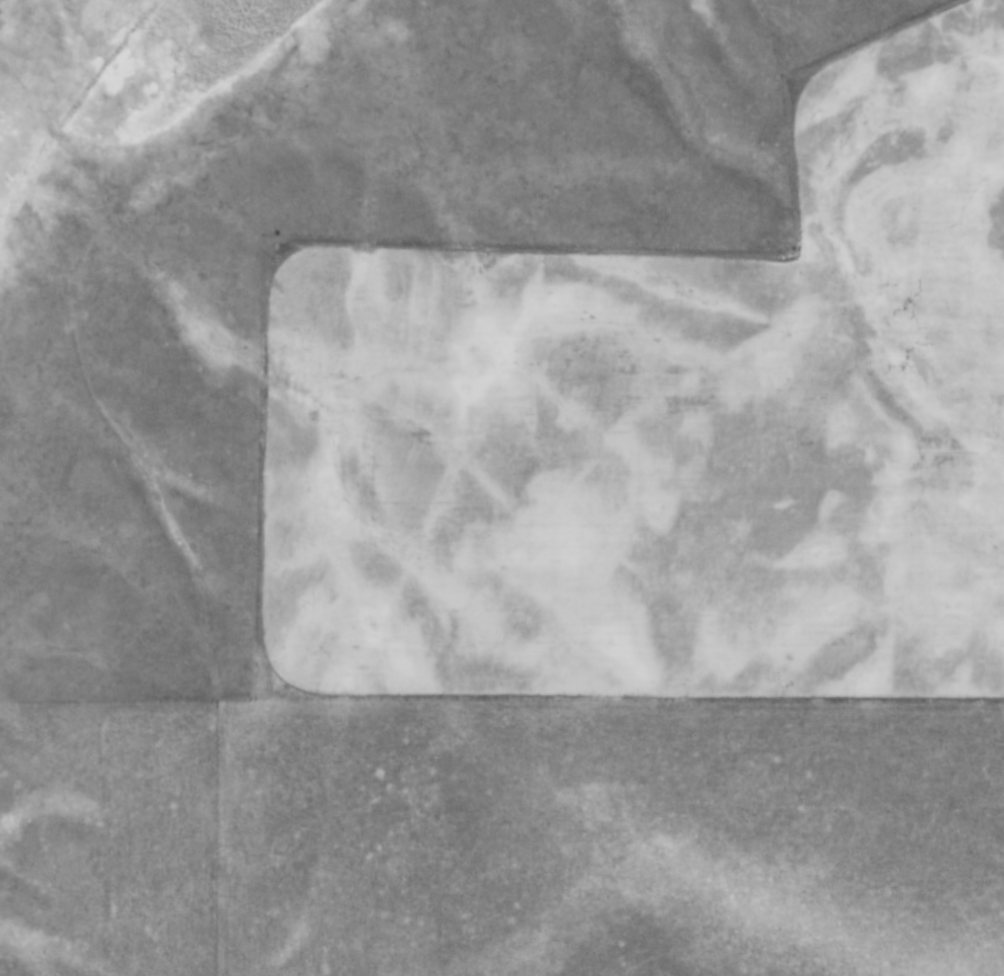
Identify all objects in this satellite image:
road: (226, 843)

